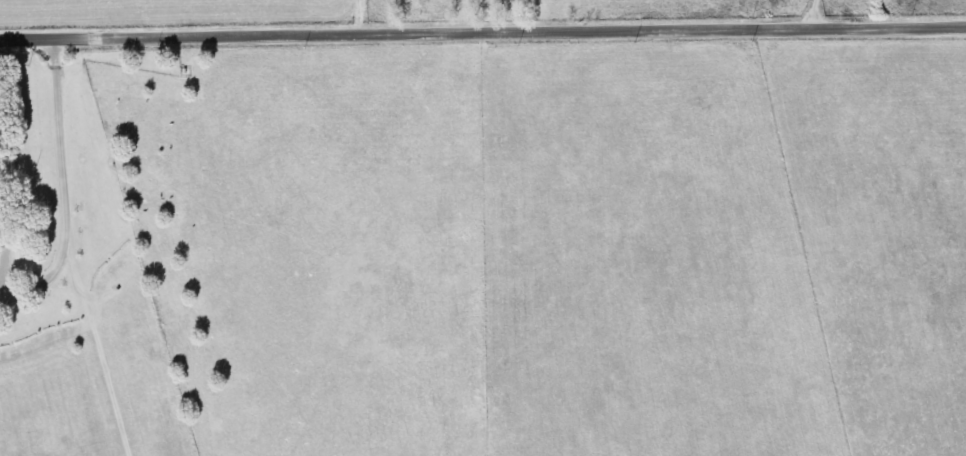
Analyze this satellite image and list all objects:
road: (814, 14)
road: (482, 31)
road: (60, 181)
building: (15, 253)

